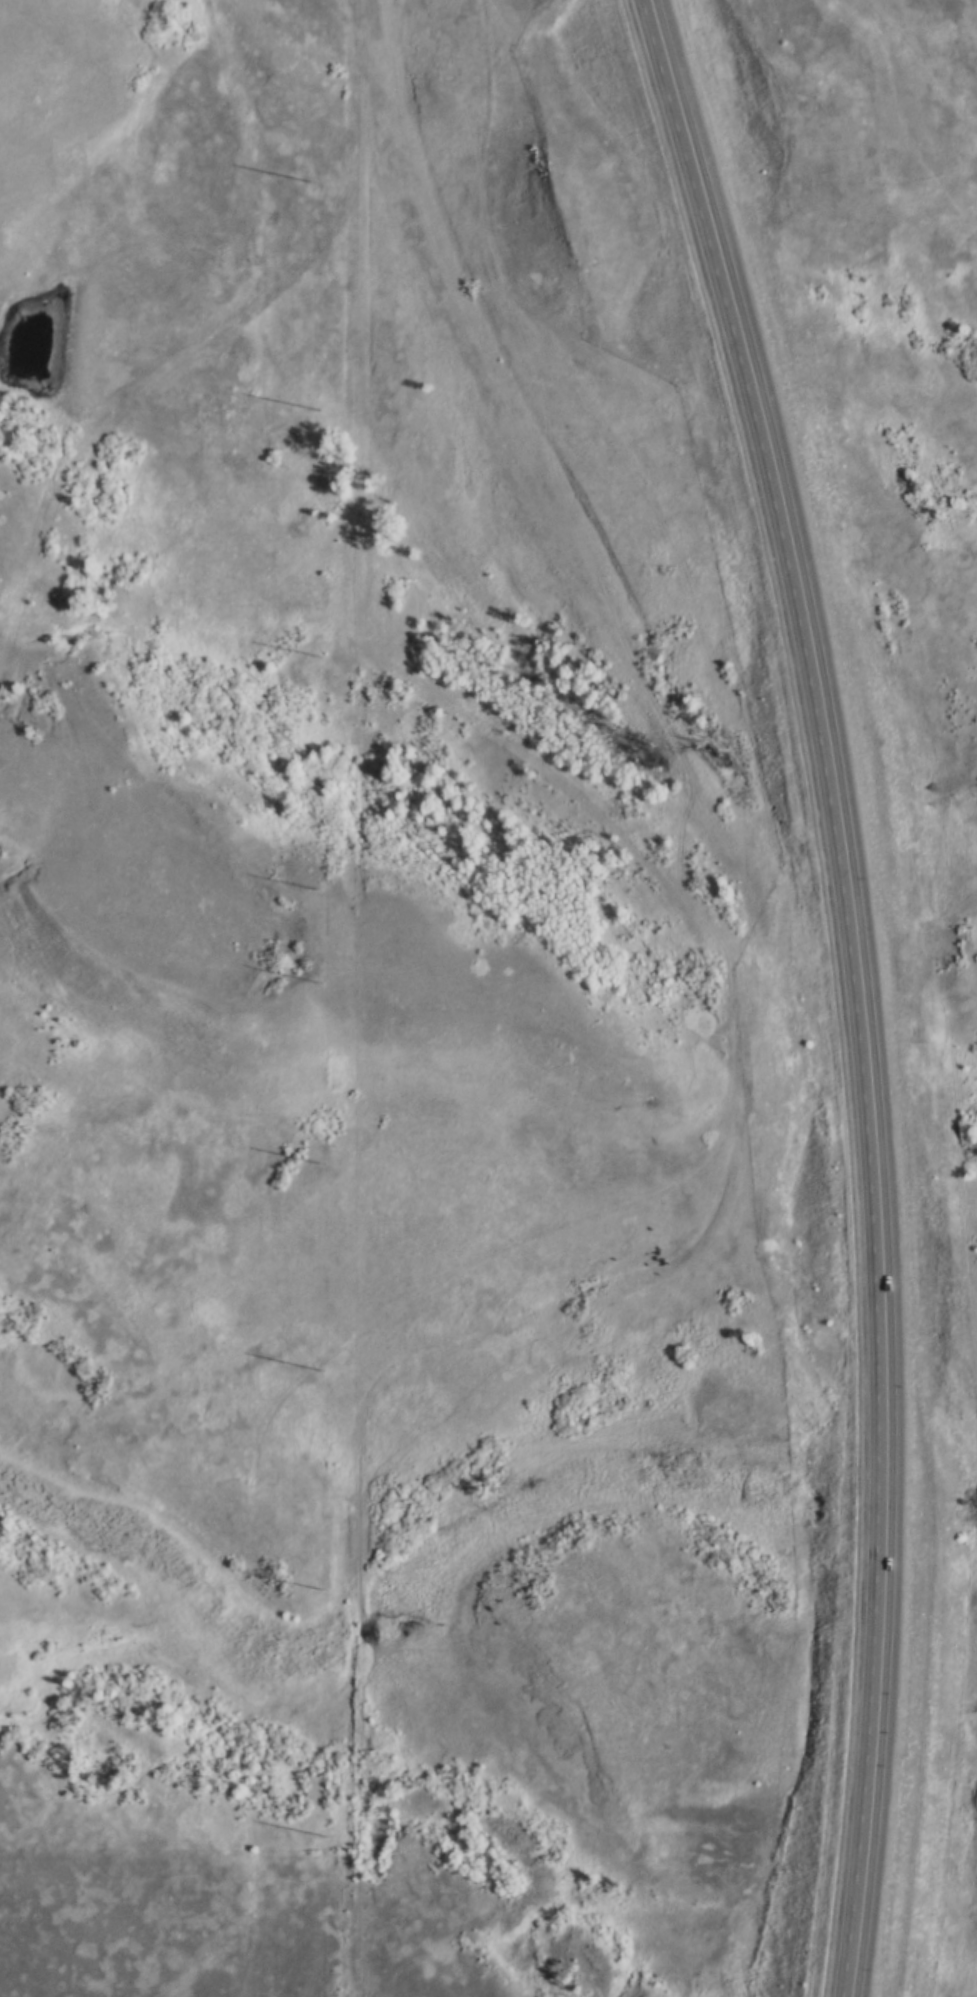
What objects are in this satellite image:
road: (868, 987)

